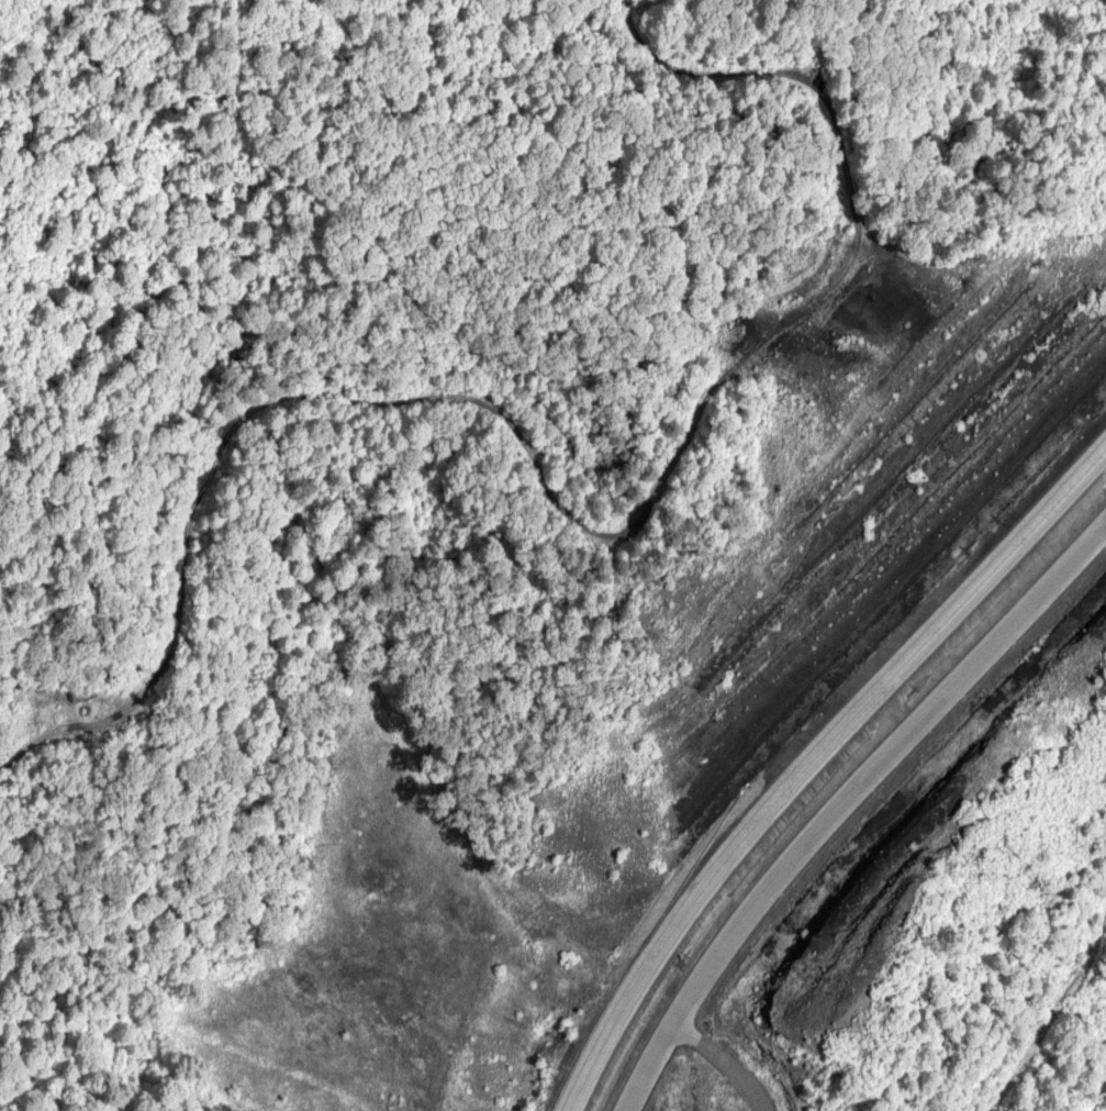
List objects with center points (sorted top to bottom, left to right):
quarry: (850, 465)
road: (809, 756)
road: (839, 798)
quarry: (925, 826)

